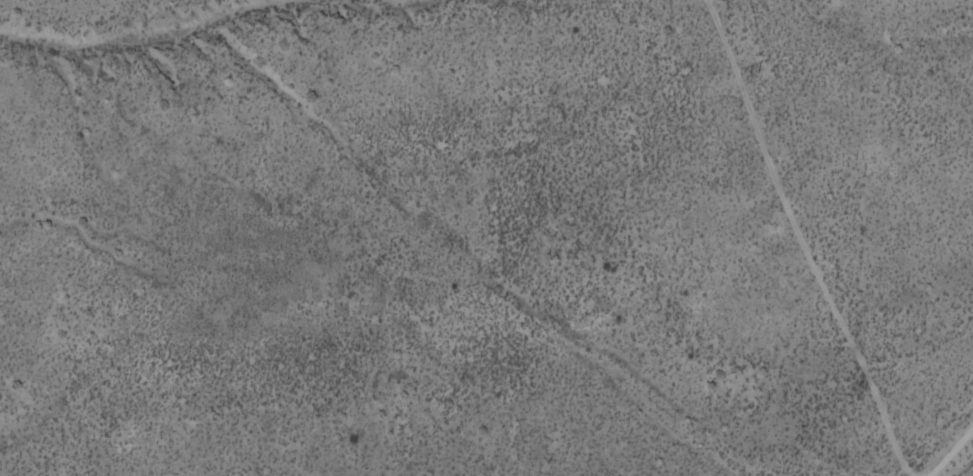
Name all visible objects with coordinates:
power tower: (751, 74)
road: (941, 440)

